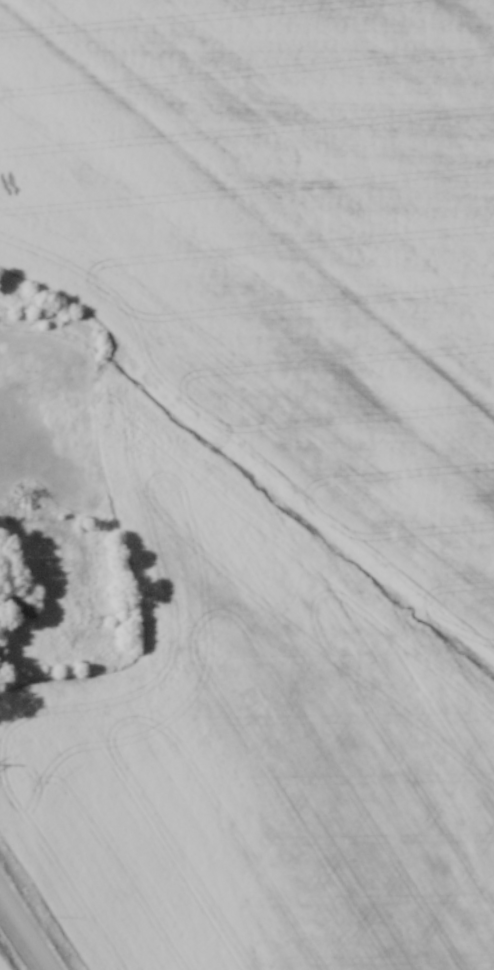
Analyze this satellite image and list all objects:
building: (18, 601)
road: (27, 927)

